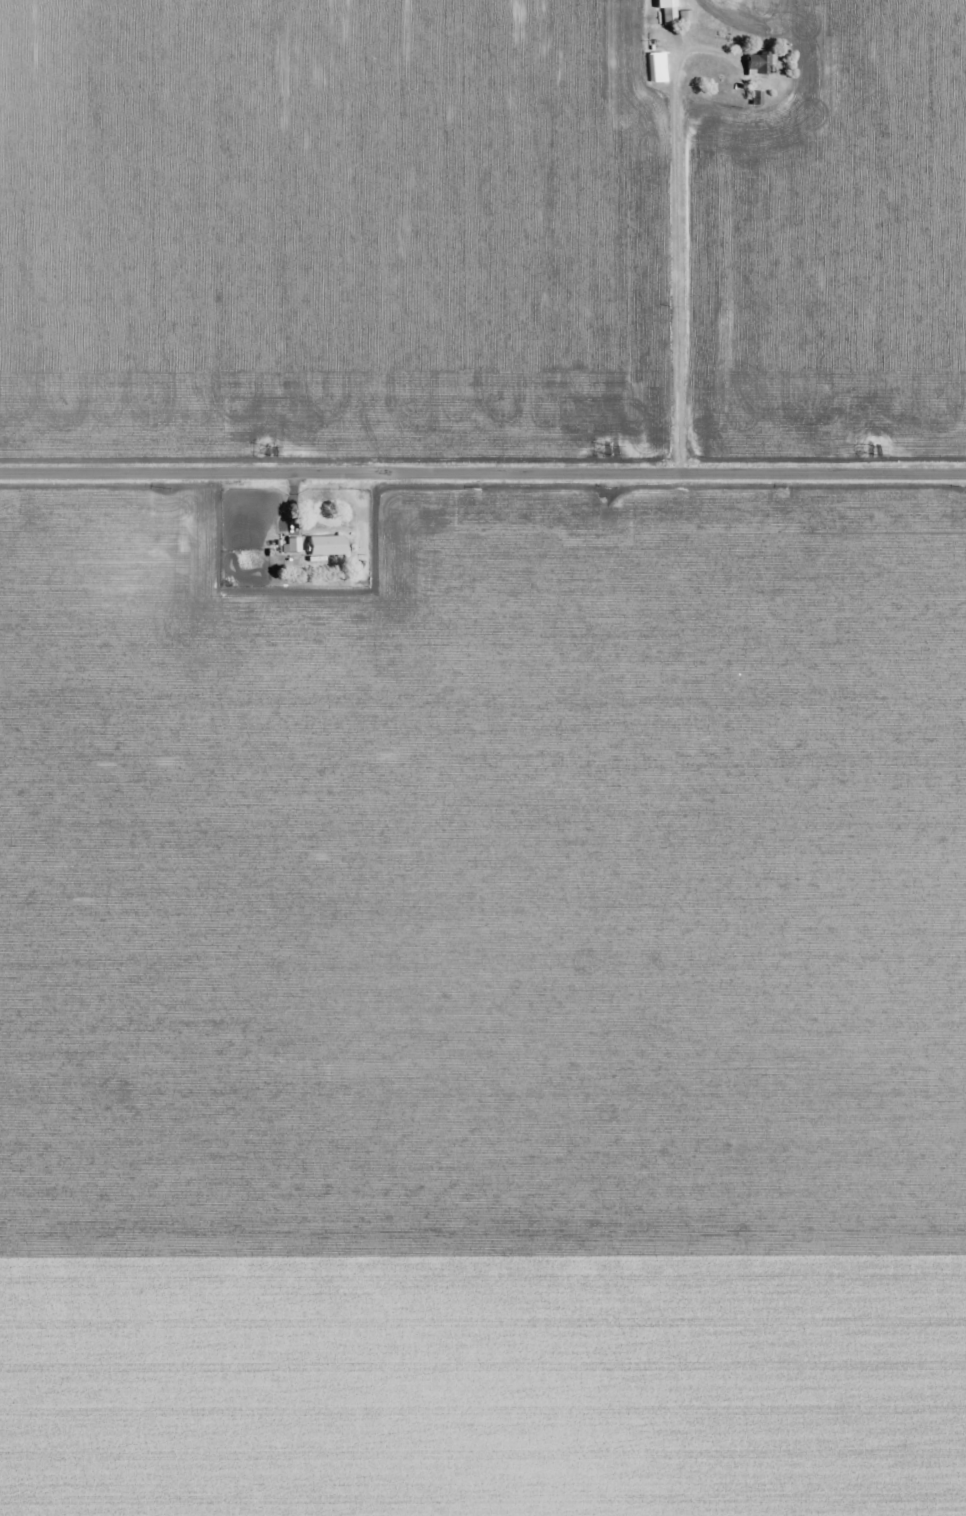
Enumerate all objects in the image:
building: (668, 11)
building: (758, 64)
building: (657, 67)
road: (677, 233)
power tower: (874, 449)
power tower: (613, 450)
power tower: (271, 452)
road: (483, 473)
building: (247, 501)
building: (293, 545)
building: (327, 546)

